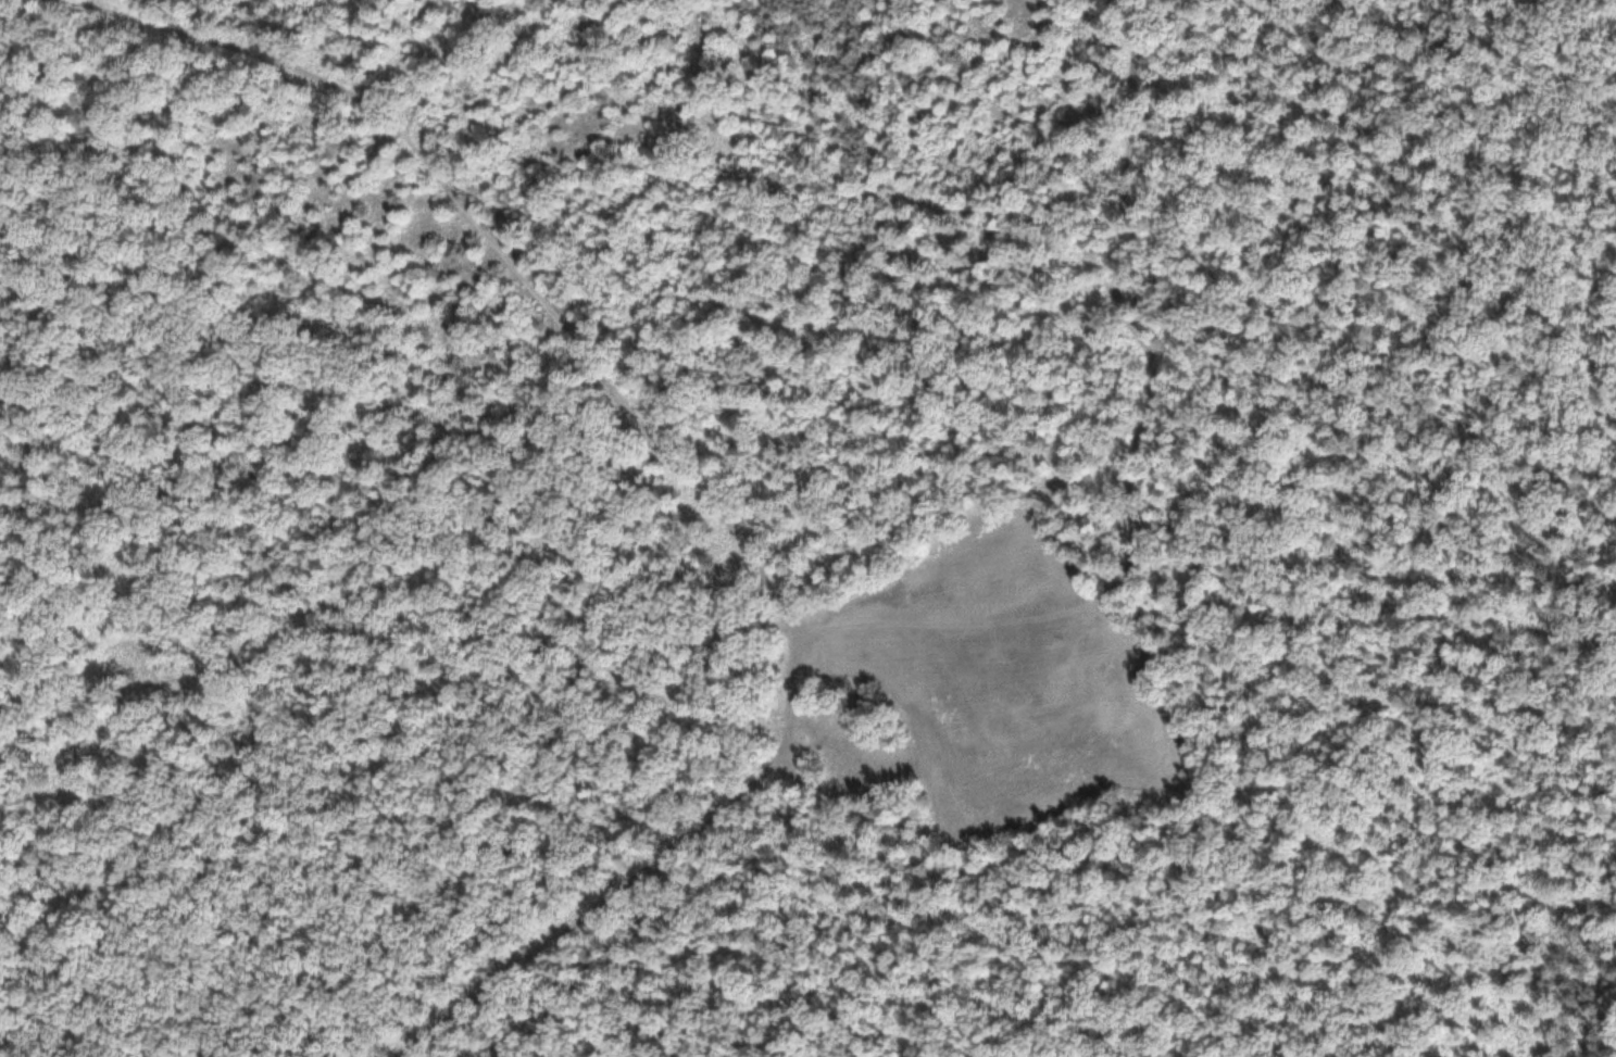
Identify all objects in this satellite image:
road: (574, 421)
road: (1135, 449)
road: (687, 468)

